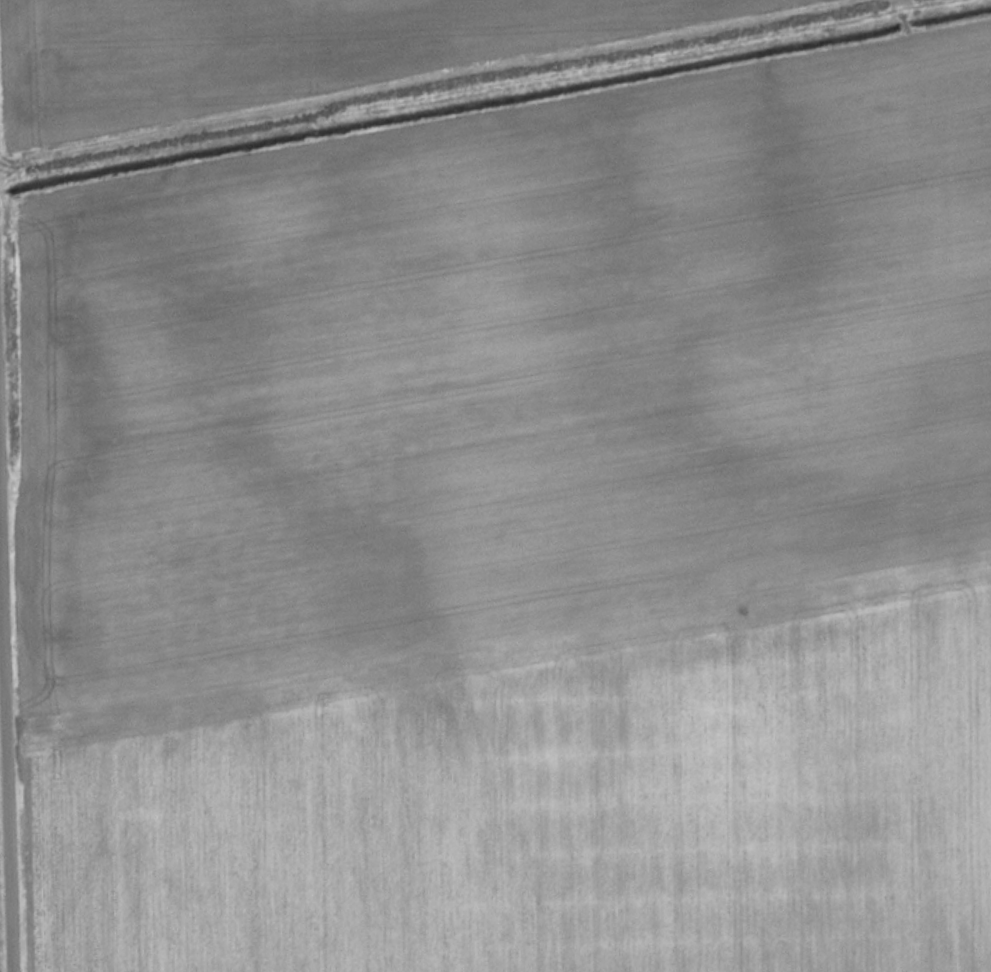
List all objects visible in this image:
road: (2, 871)

